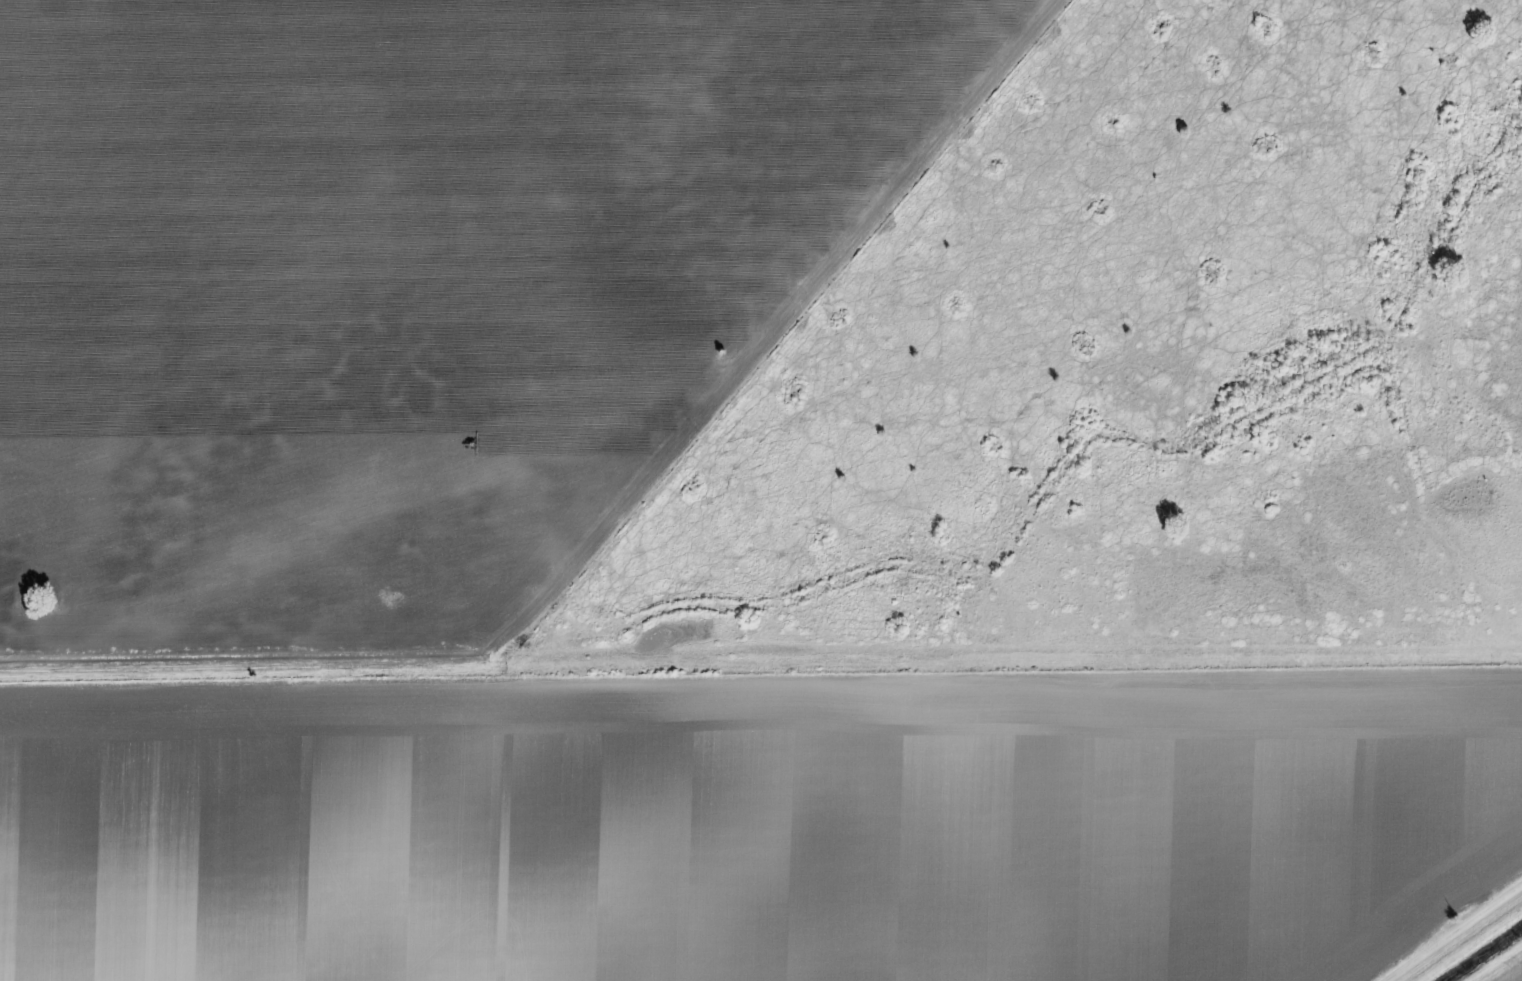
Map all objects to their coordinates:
road: (1456, 935)

